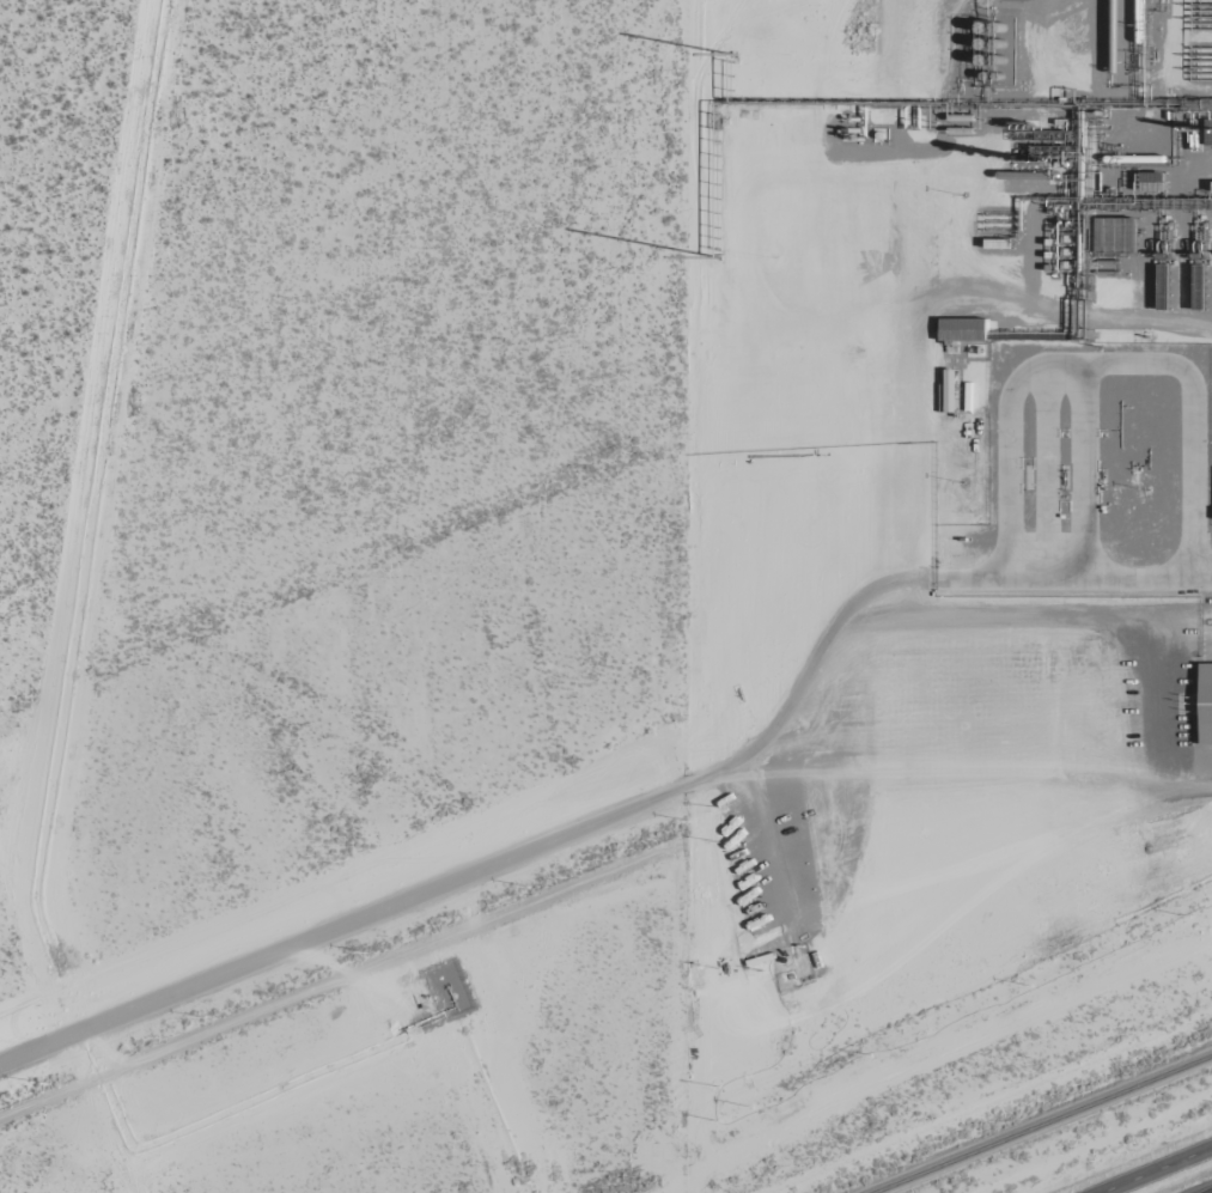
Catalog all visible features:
building: (1153, 183)
building: (1119, 236)
building: (966, 330)
building: (1207, 681)
road: (339, 930)
railway: (1047, 1126)
road: (1158, 1170)

